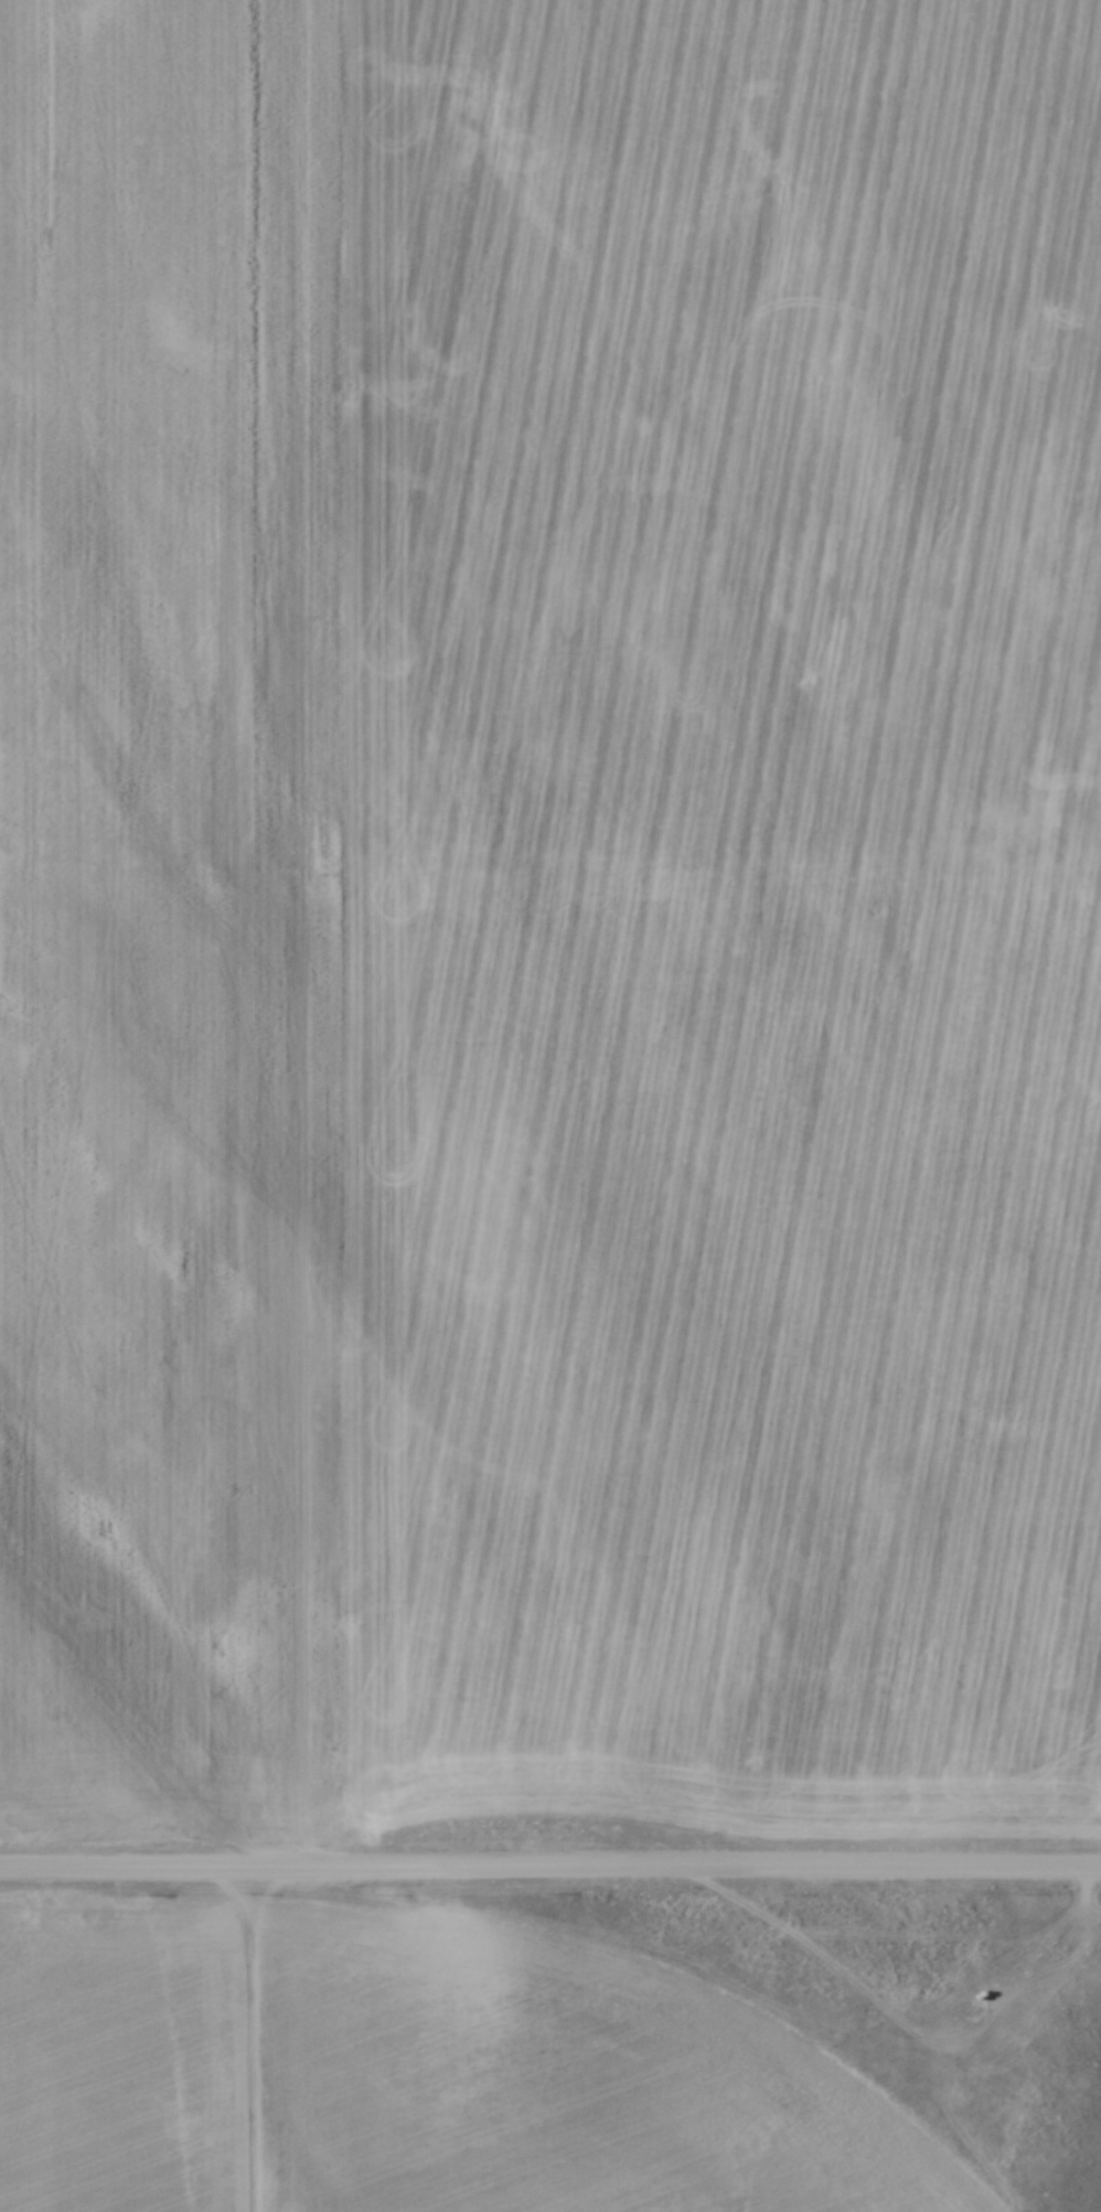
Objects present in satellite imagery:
road: (550, 1864)
building: (85, 1915)

